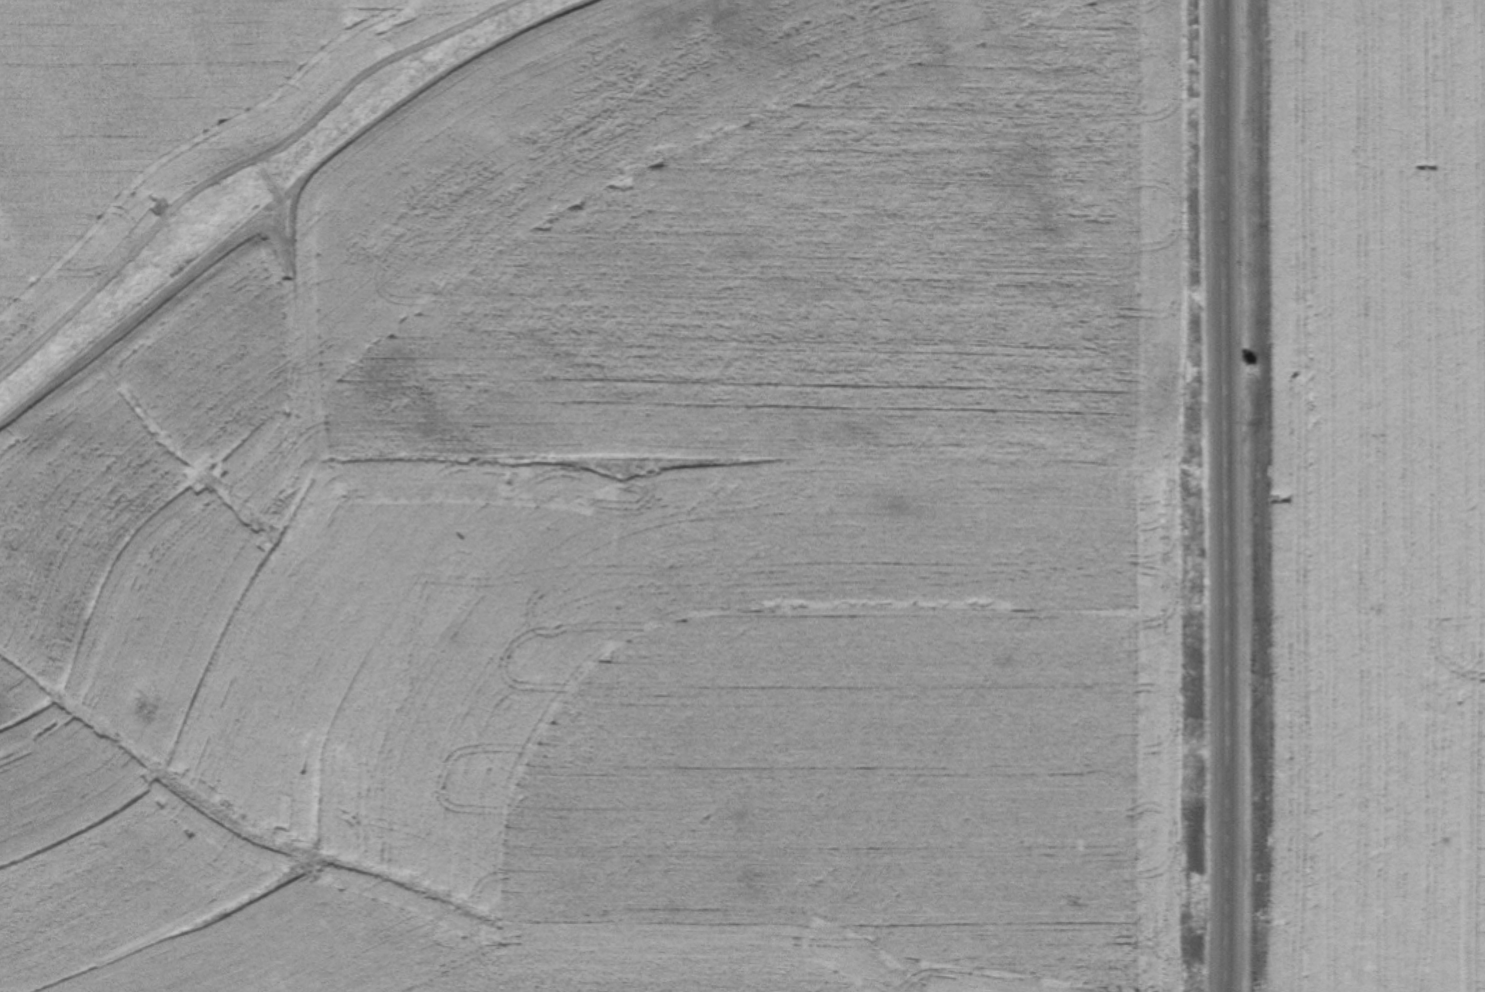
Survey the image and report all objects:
road: (1224, 496)

